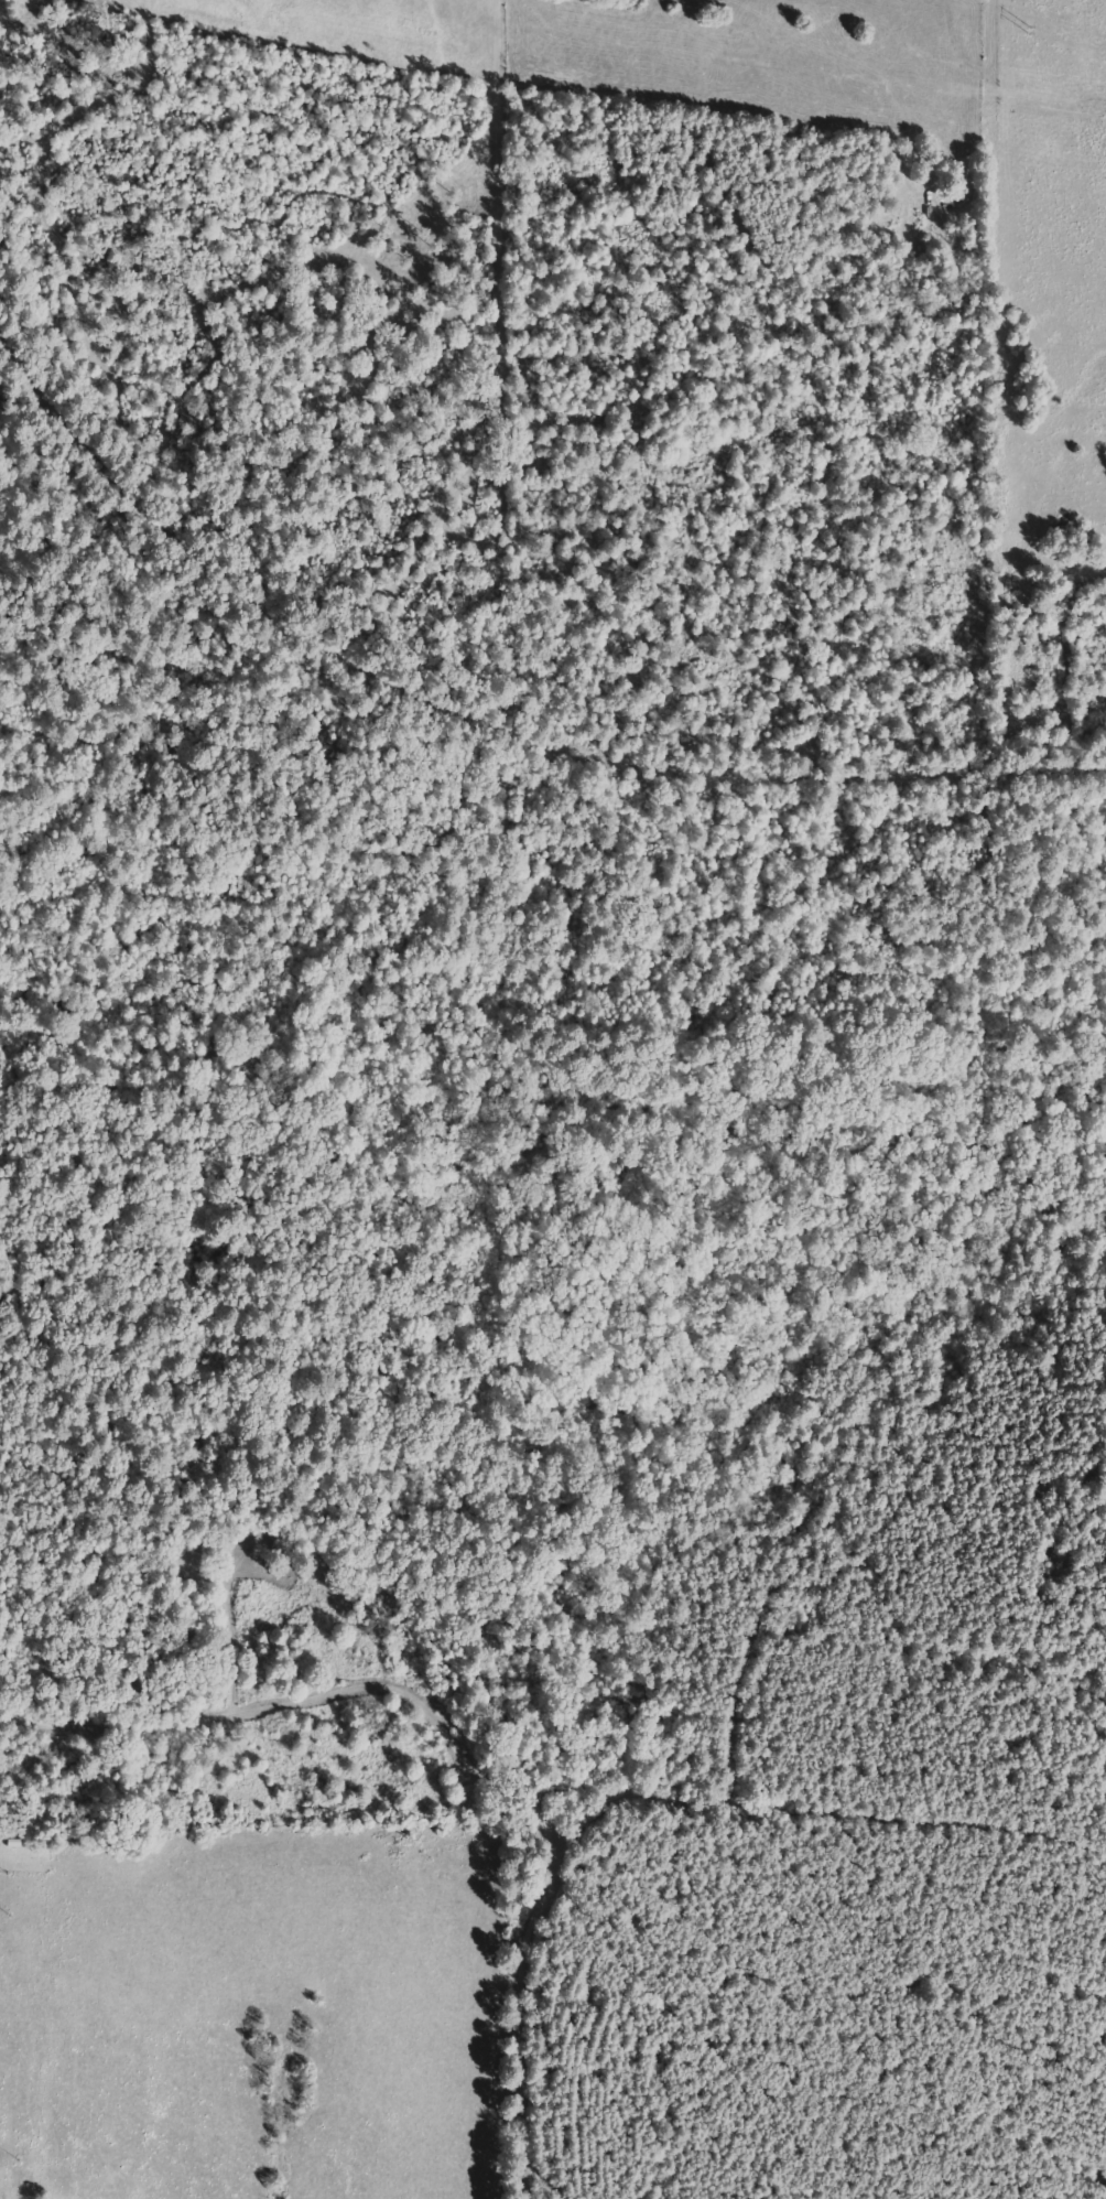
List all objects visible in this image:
road: (95, 1697)

